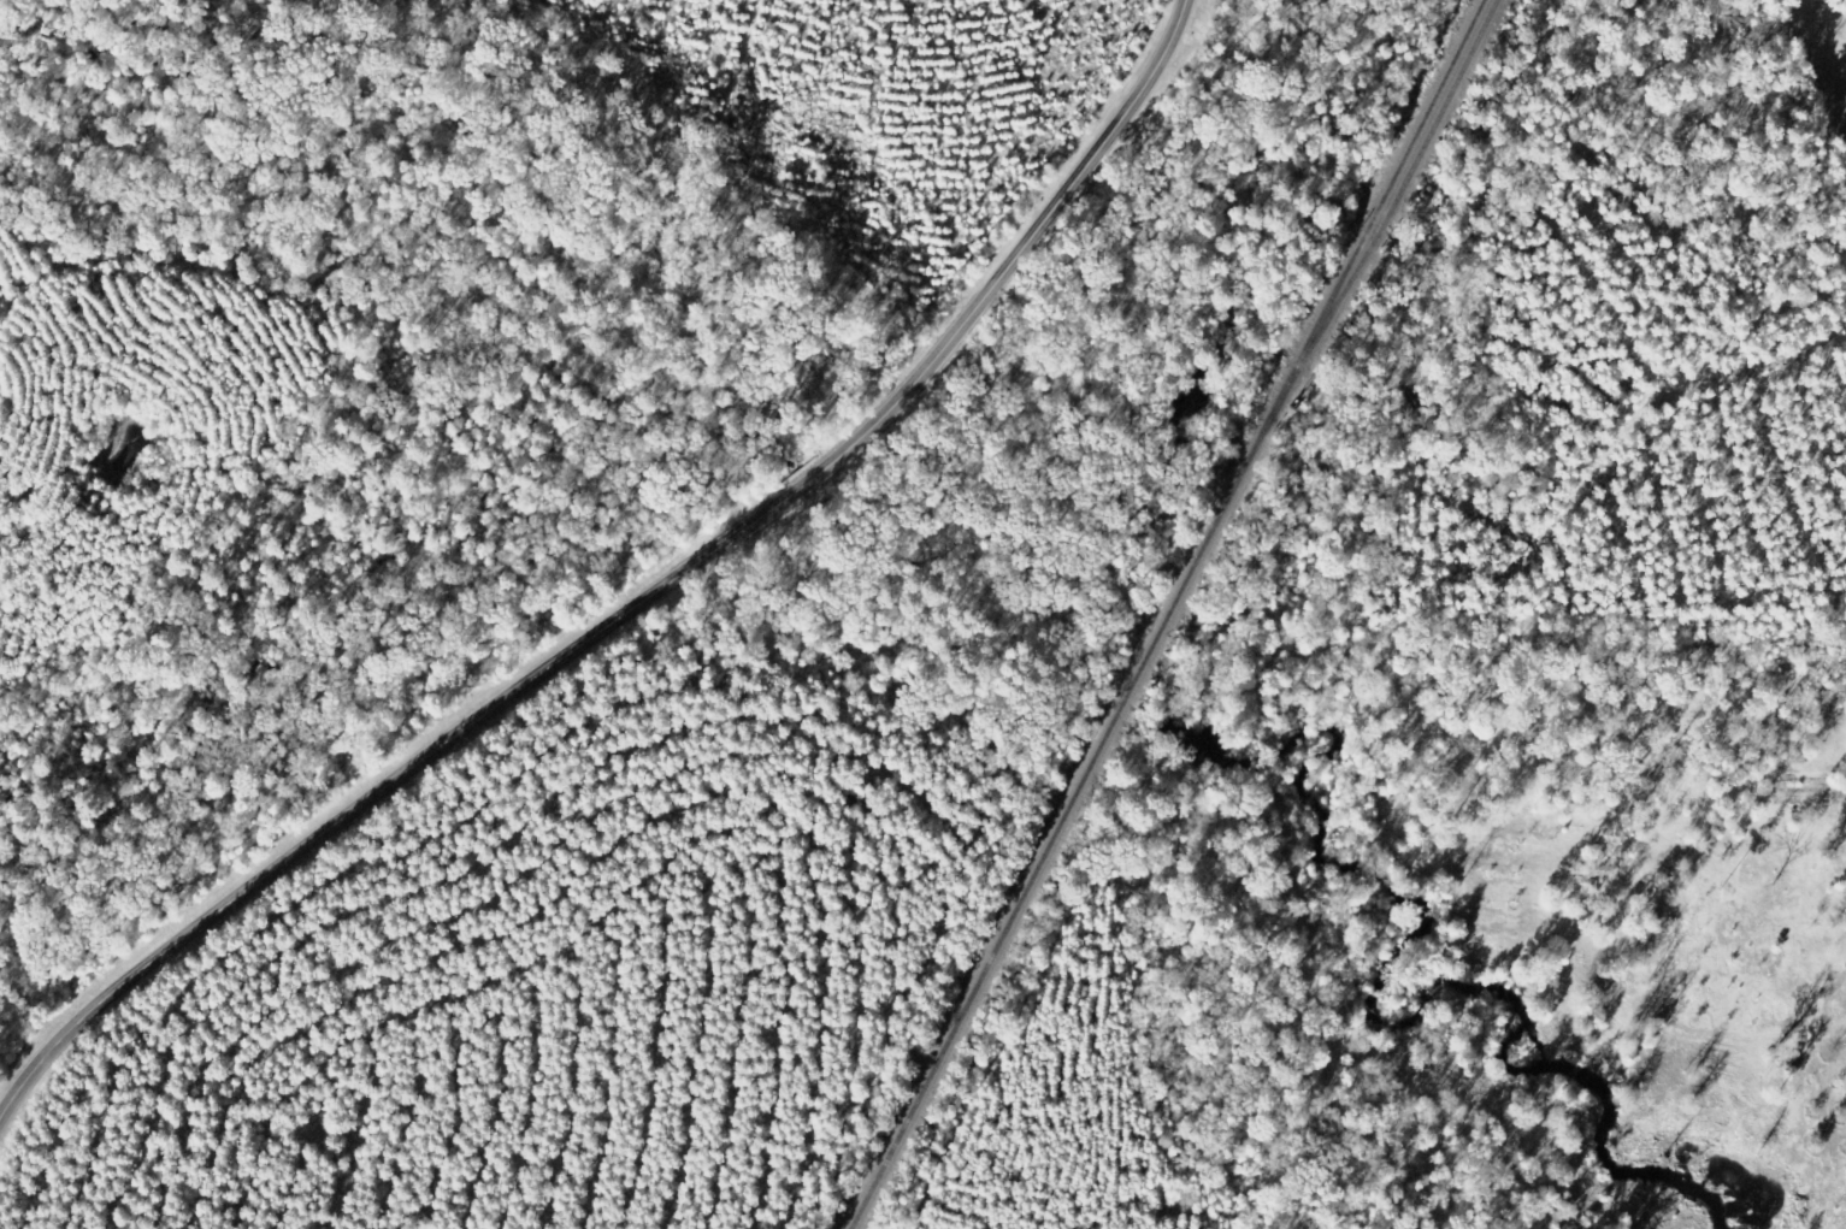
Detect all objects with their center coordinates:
railway: (1379, 215)
railway: (1390, 219)
road: (1815, 262)
road: (638, 605)
railway: (1061, 829)

